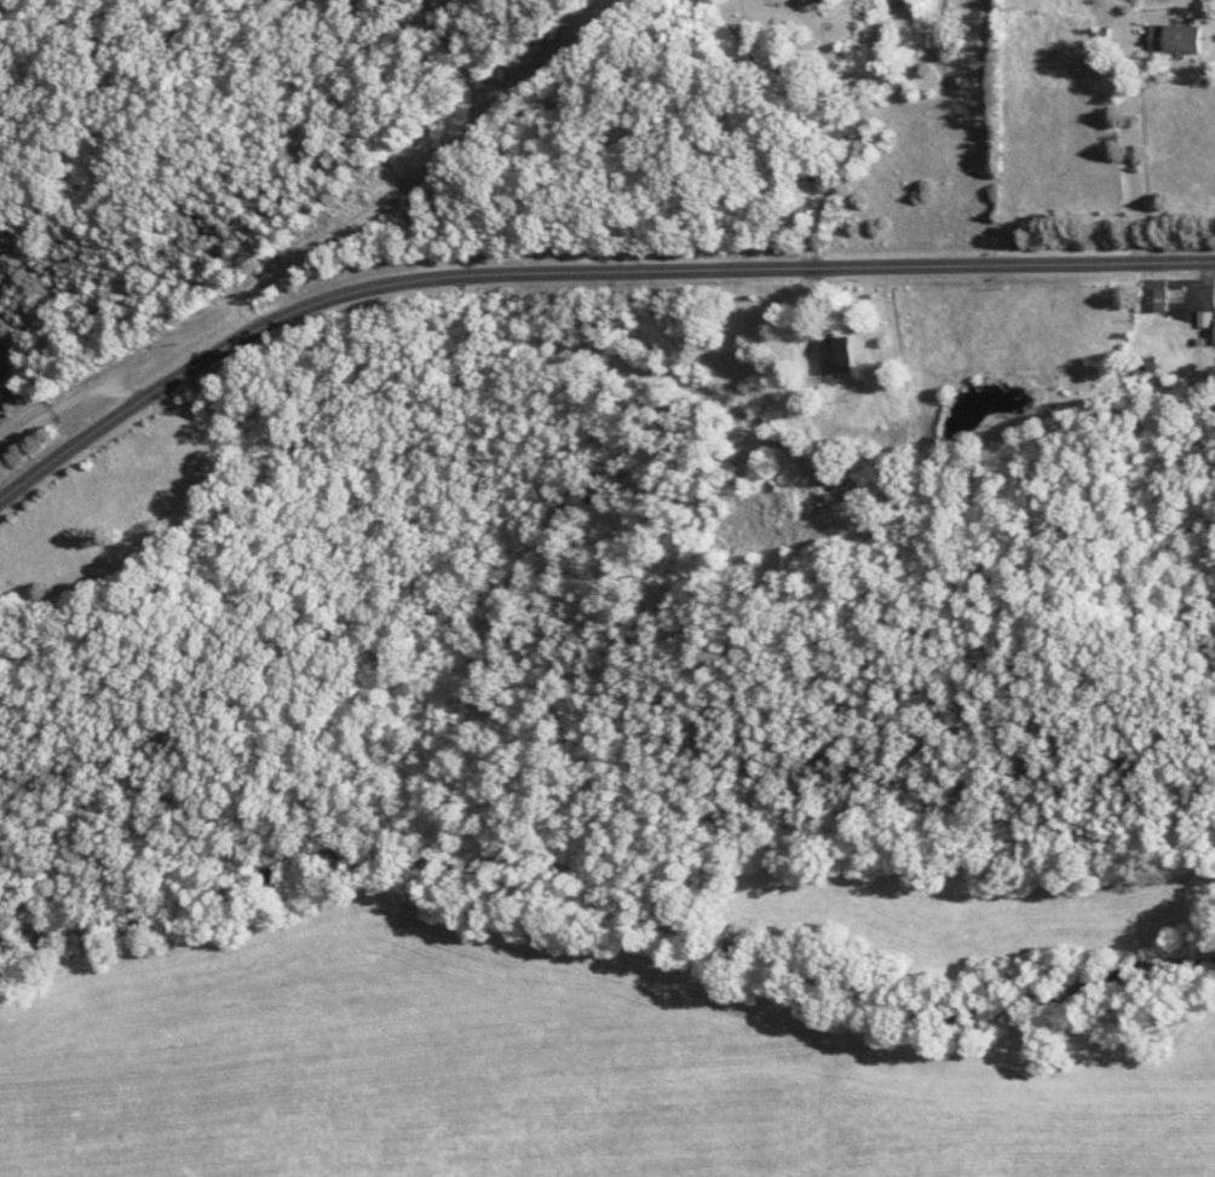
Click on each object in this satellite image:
building: (1163, 37)
building: (1188, 40)
road: (858, 127)
road: (1129, 151)
road: (578, 276)
building: (1162, 295)
building: (842, 357)

